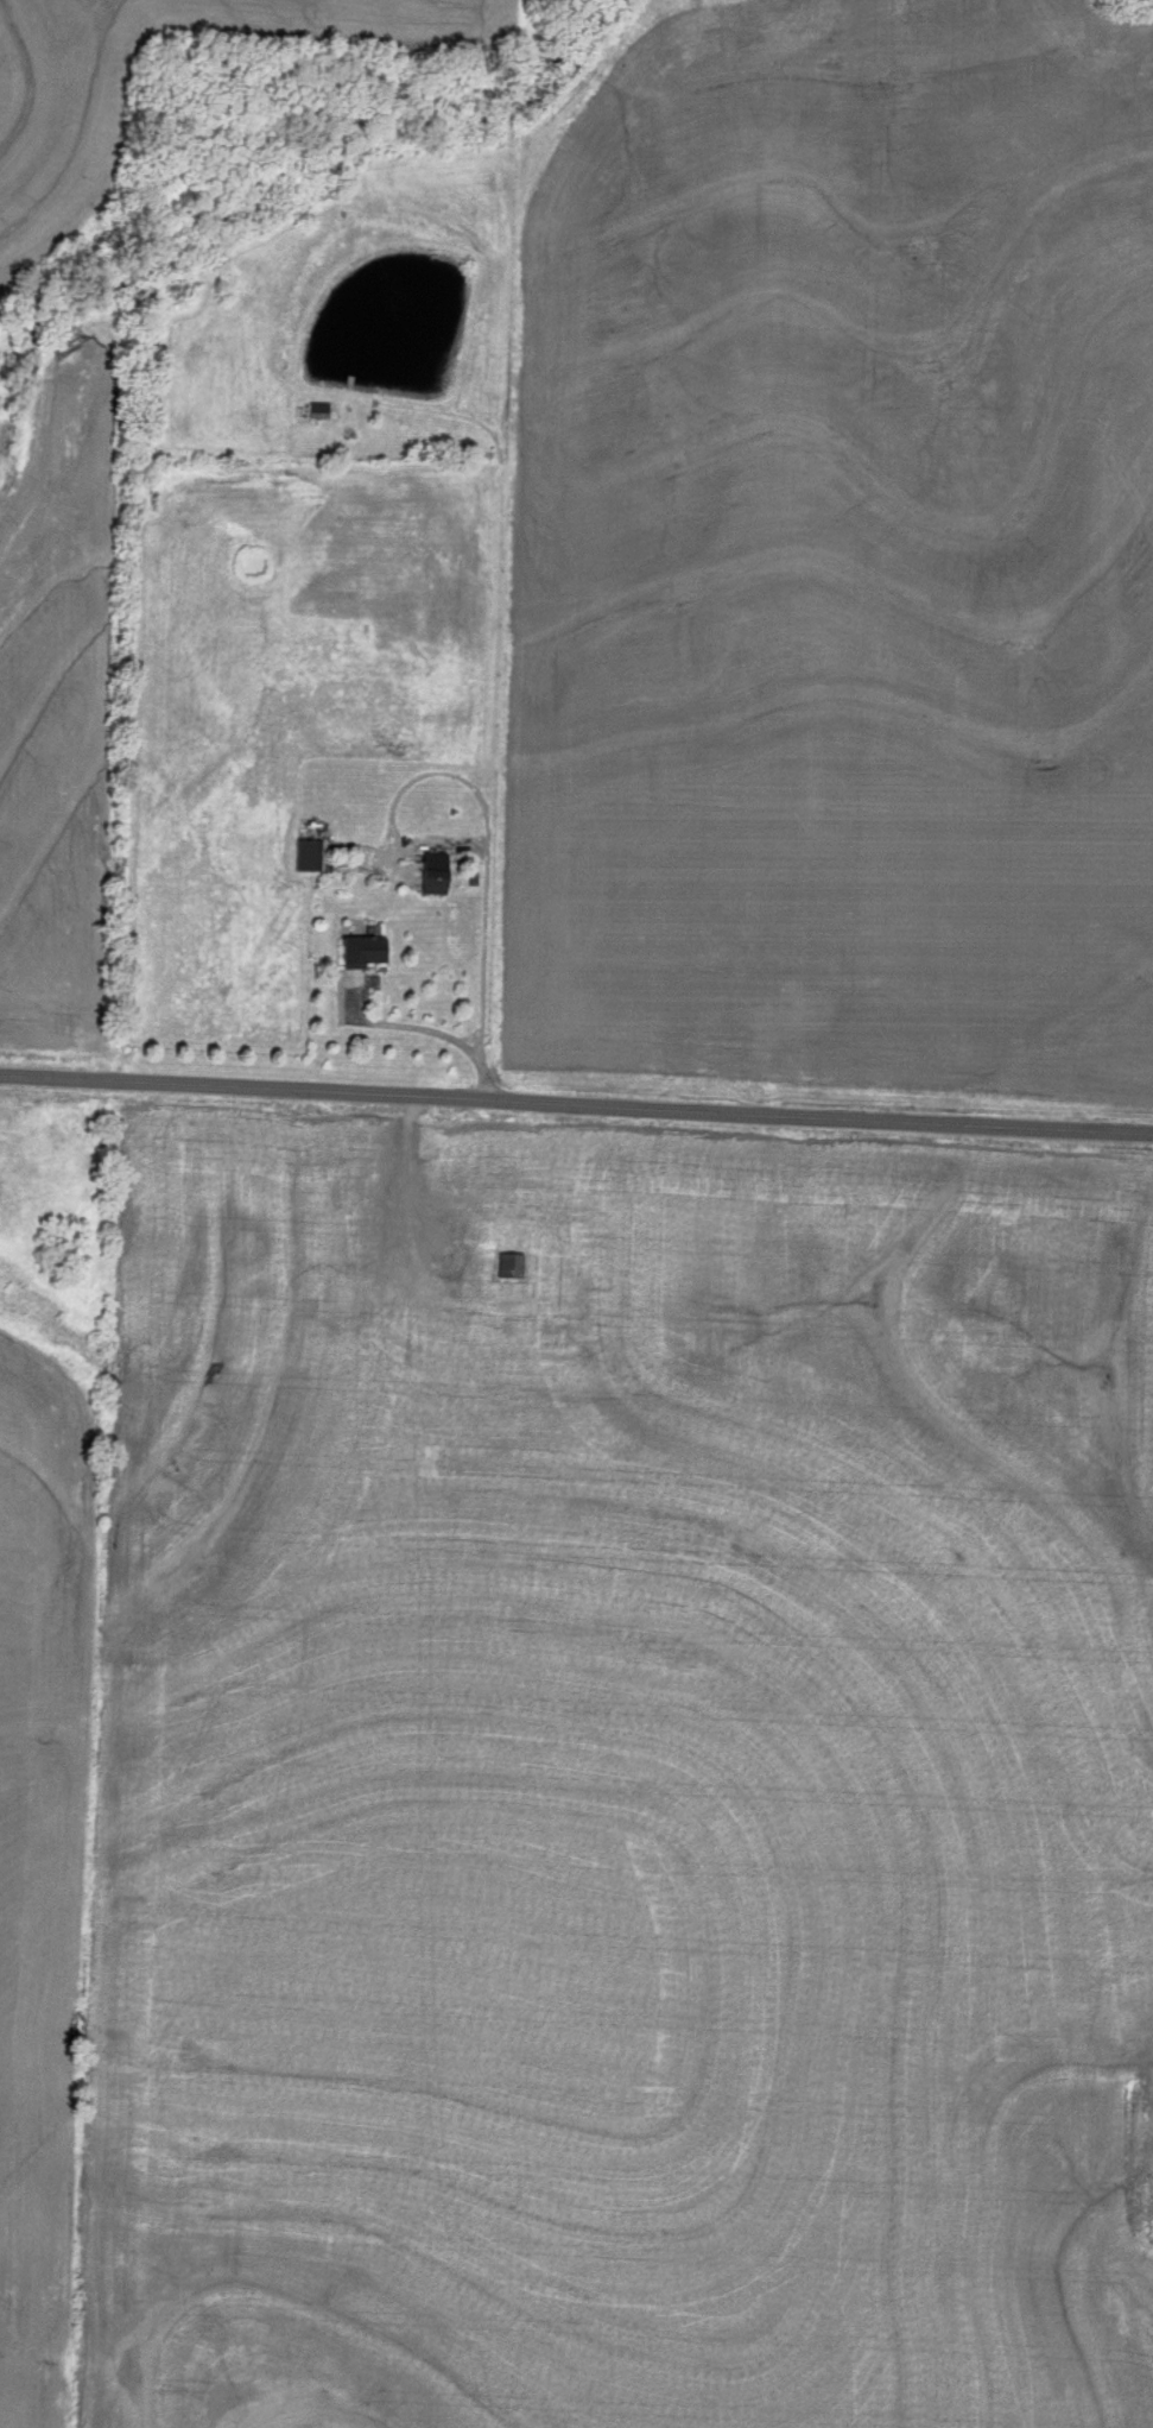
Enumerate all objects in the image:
road: (481, 840)
building: (302, 856)
building: (430, 874)
building: (357, 951)
road: (420, 1029)
road: (576, 1098)
building: (412, 1259)
building: (507, 1266)

